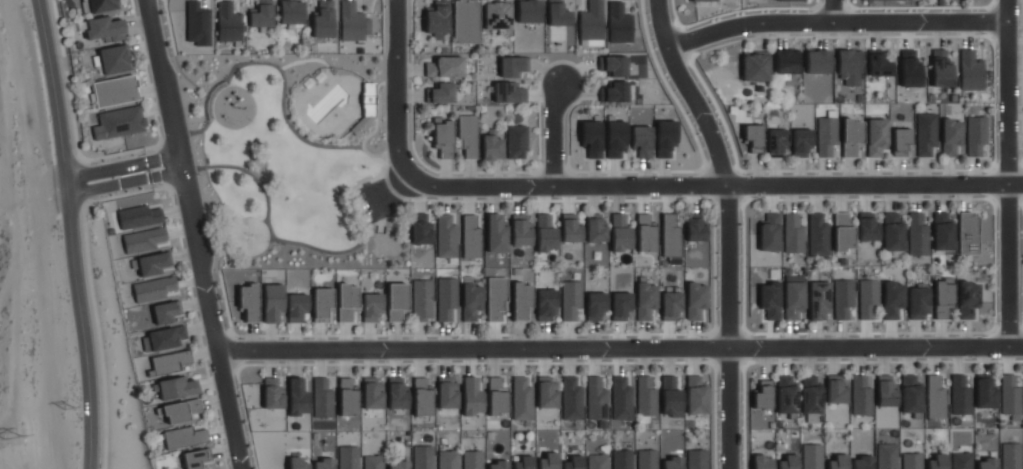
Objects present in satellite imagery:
building: (702, 0)
building: (790, 0)
building: (102, 6)
building: (528, 11)
road: (833, 11)
building: (291, 14)
building: (497, 14)
building: (556, 14)
building: (260, 18)
building: (323, 19)
building: (437, 20)
building: (466, 21)
building: (228, 22)
building: (353, 22)
road: (835, 22)
building: (197, 23)
building: (591, 24)
building: (619, 24)
building: (105, 30)
building: (114, 60)
building: (817, 61)
building: (849, 61)
building: (786, 63)
building: (512, 65)
building: (879, 65)
building: (447, 66)
building: (613, 66)
building: (755, 68)
building: (941, 68)
building: (910, 69)
building: (970, 70)
road: (396, 88)
building: (115, 91)
building: (614, 91)
building: (510, 92)
building: (441, 94)
building: (122, 122)
building: (851, 134)
building: (927, 134)
building: (468, 135)
road: (554, 135)
building: (827, 135)
building: (952, 135)
building: (977, 136)
building: (443, 137)
building: (592, 138)
building: (753, 138)
building: (877, 138)
building: (617, 139)
building: (666, 139)
building: (901, 140)
building: (642, 141)
building: (517, 142)
building: (777, 142)
building: (802, 143)
building: (492, 144)
park: (291, 157)
road: (164, 160)
road: (108, 171)
road: (1007, 173)
road: (167, 175)
road: (110, 186)
road: (713, 186)
road: (137, 192)
building: (140, 217)
building: (696, 227)
road: (728, 227)
building: (571, 228)
building: (867, 228)
building: (596, 229)
building: (421, 230)
building: (769, 231)
building: (522, 232)
building: (843, 232)
building: (942, 232)
road: (73, 233)
building: (497, 233)
building: (621, 233)
building: (645, 233)
building: (794, 233)
building: (892, 233)
road: (195, 234)
building: (546, 234)
building: (968, 234)
building: (671, 235)
building: (917, 235)
building: (818, 236)
building: (446, 237)
building: (471, 237)
building: (145, 241)
building: (153, 264)
building: (155, 289)
building: (770, 298)
building: (844, 298)
building: (968, 298)
building: (497, 299)
building: (645, 299)
building: (696, 299)
building: (869, 299)
building: (944, 299)
building: (347, 300)
building: (795, 300)
building: (819, 300)
building: (893, 300)
building: (248, 301)
building: (422, 301)
building: (447, 301)
building: (522, 301)
building: (573, 301)
building: (272, 302)
building: (397, 302)
building: (472, 303)
building: (919, 303)
building: (322, 304)
building: (670, 304)
building: (547, 305)
building: (297, 306)
building: (597, 306)
building: (622, 306)
building: (373, 307)
building: (167, 312)
building: (166, 338)
road: (621, 350)
building: (170, 362)
road: (475, 364)
building: (178, 387)
building: (837, 392)
building: (886, 392)
building: (272, 393)
building: (448, 393)
building: (548, 393)
building: (911, 394)
building: (696, 395)
building: (960, 395)
building: (985, 395)
building: (373, 396)
building: (473, 396)
building: (787, 396)
building: (862, 396)
building: (297, 397)
building: (321, 397)
building: (397, 397)
building: (646, 397)
building: (671, 397)
building: (763, 397)
building: (811, 397)
building: (422, 398)
building: (497, 398)
building: (522, 398)
building: (936, 398)
building: (1010, 398)
building: (572, 399)
building: (596, 400)
building: (622, 400)
building: (347, 407)
power tower: (68, 408)
building: (182, 411)
power tower: (12, 437)
building: (184, 437)
building: (812, 456)
building: (887, 456)
building: (1011, 456)
building: (348, 457)
building: (422, 457)
building: (196, 458)
building: (447, 459)
building: (472, 459)
building: (621, 459)
building: (646, 459)
building: (696, 459)
building: (911, 460)
building: (961, 460)
building: (547, 461)
building: (597, 461)
building: (937, 461)
building: (372, 462)
building: (522, 462)
building: (573, 462)
building: (762, 462)
building: (787, 462)
building: (837, 462)
building: (861, 462)
building: (298, 463)
building: (323, 463)
building: (672, 463)
building: (986, 463)
building: (397, 465)
building: (497, 465)

